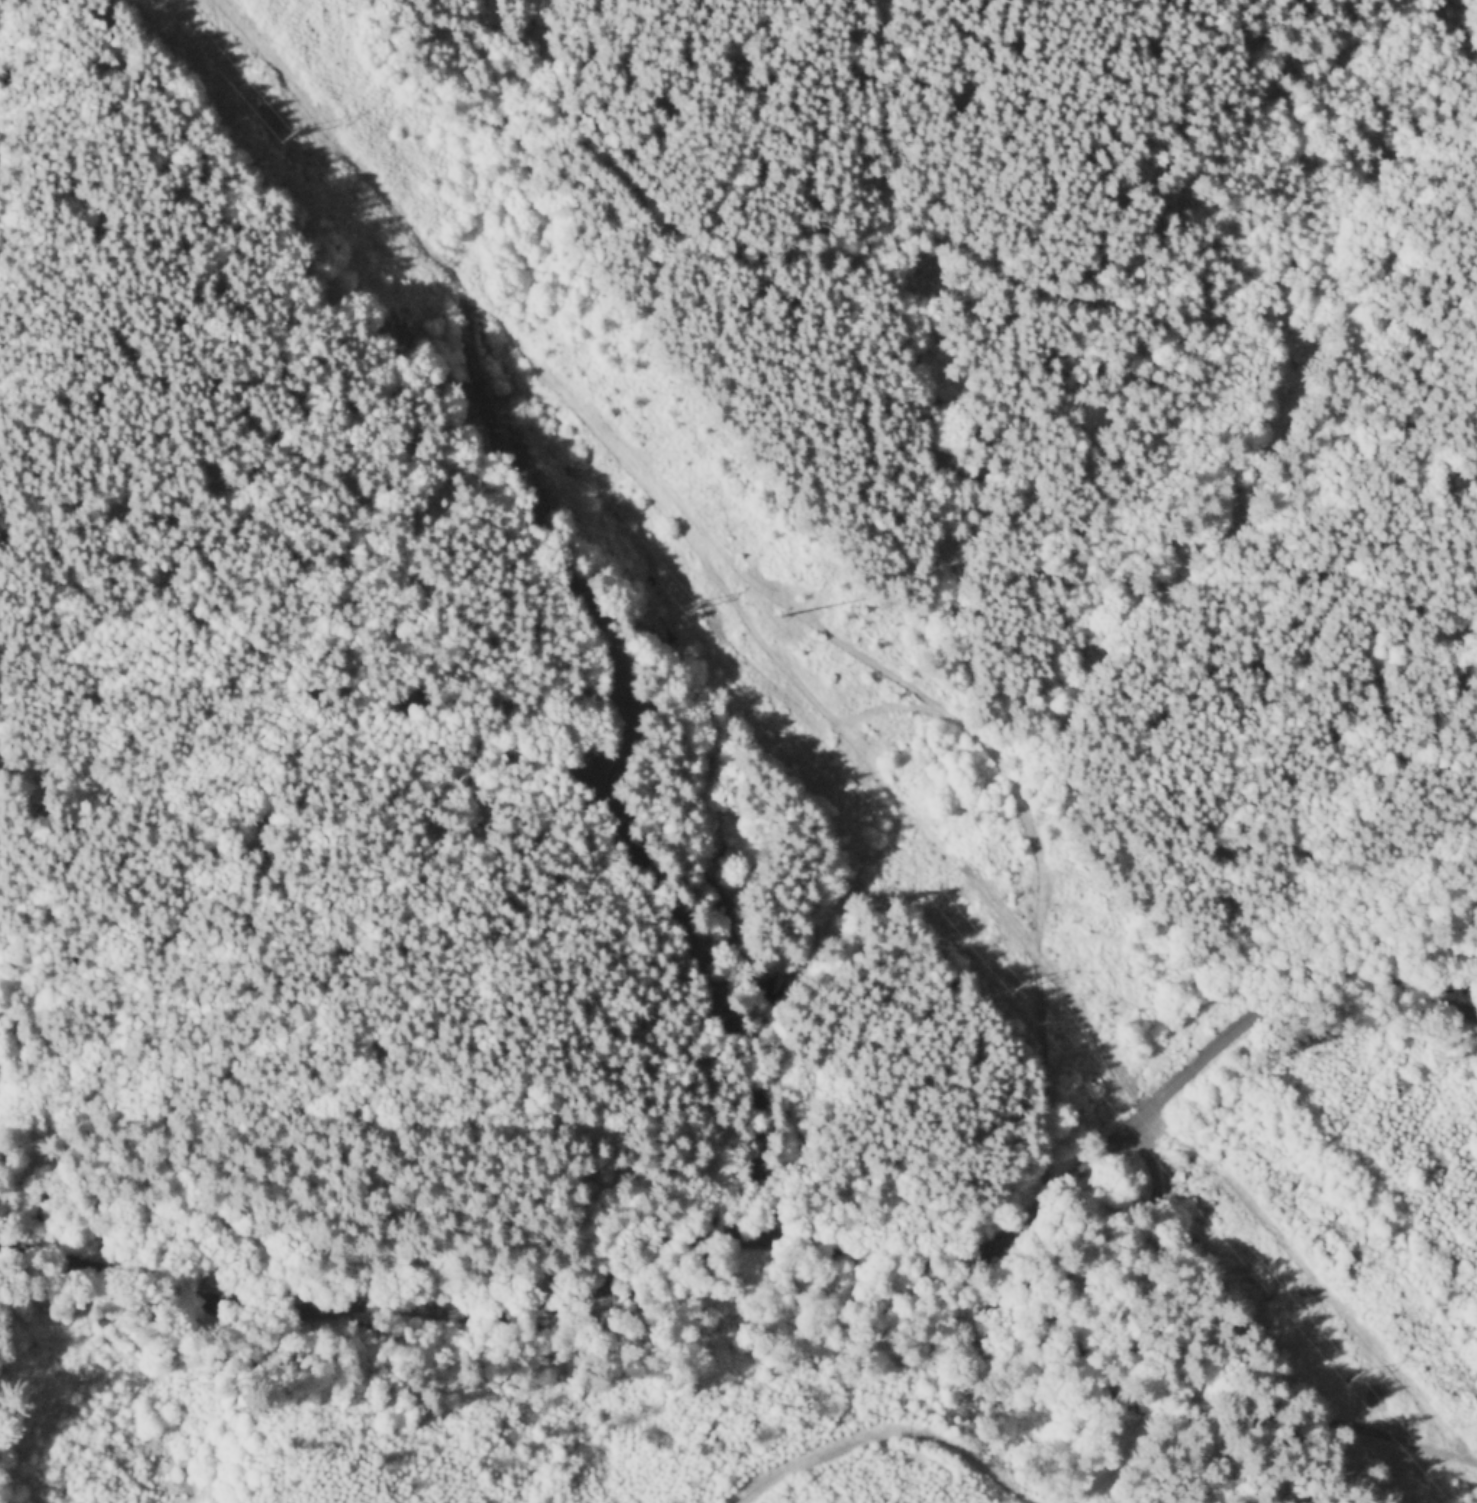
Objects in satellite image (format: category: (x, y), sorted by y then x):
power tower: (289, 139)
power tower: (689, 601)
power tower: (786, 608)
power tower: (1020, 988)
road: (790, 1272)
road: (1120, 1295)
power tower: (1356, 1376)
road: (84, 1416)
road: (898, 1435)

